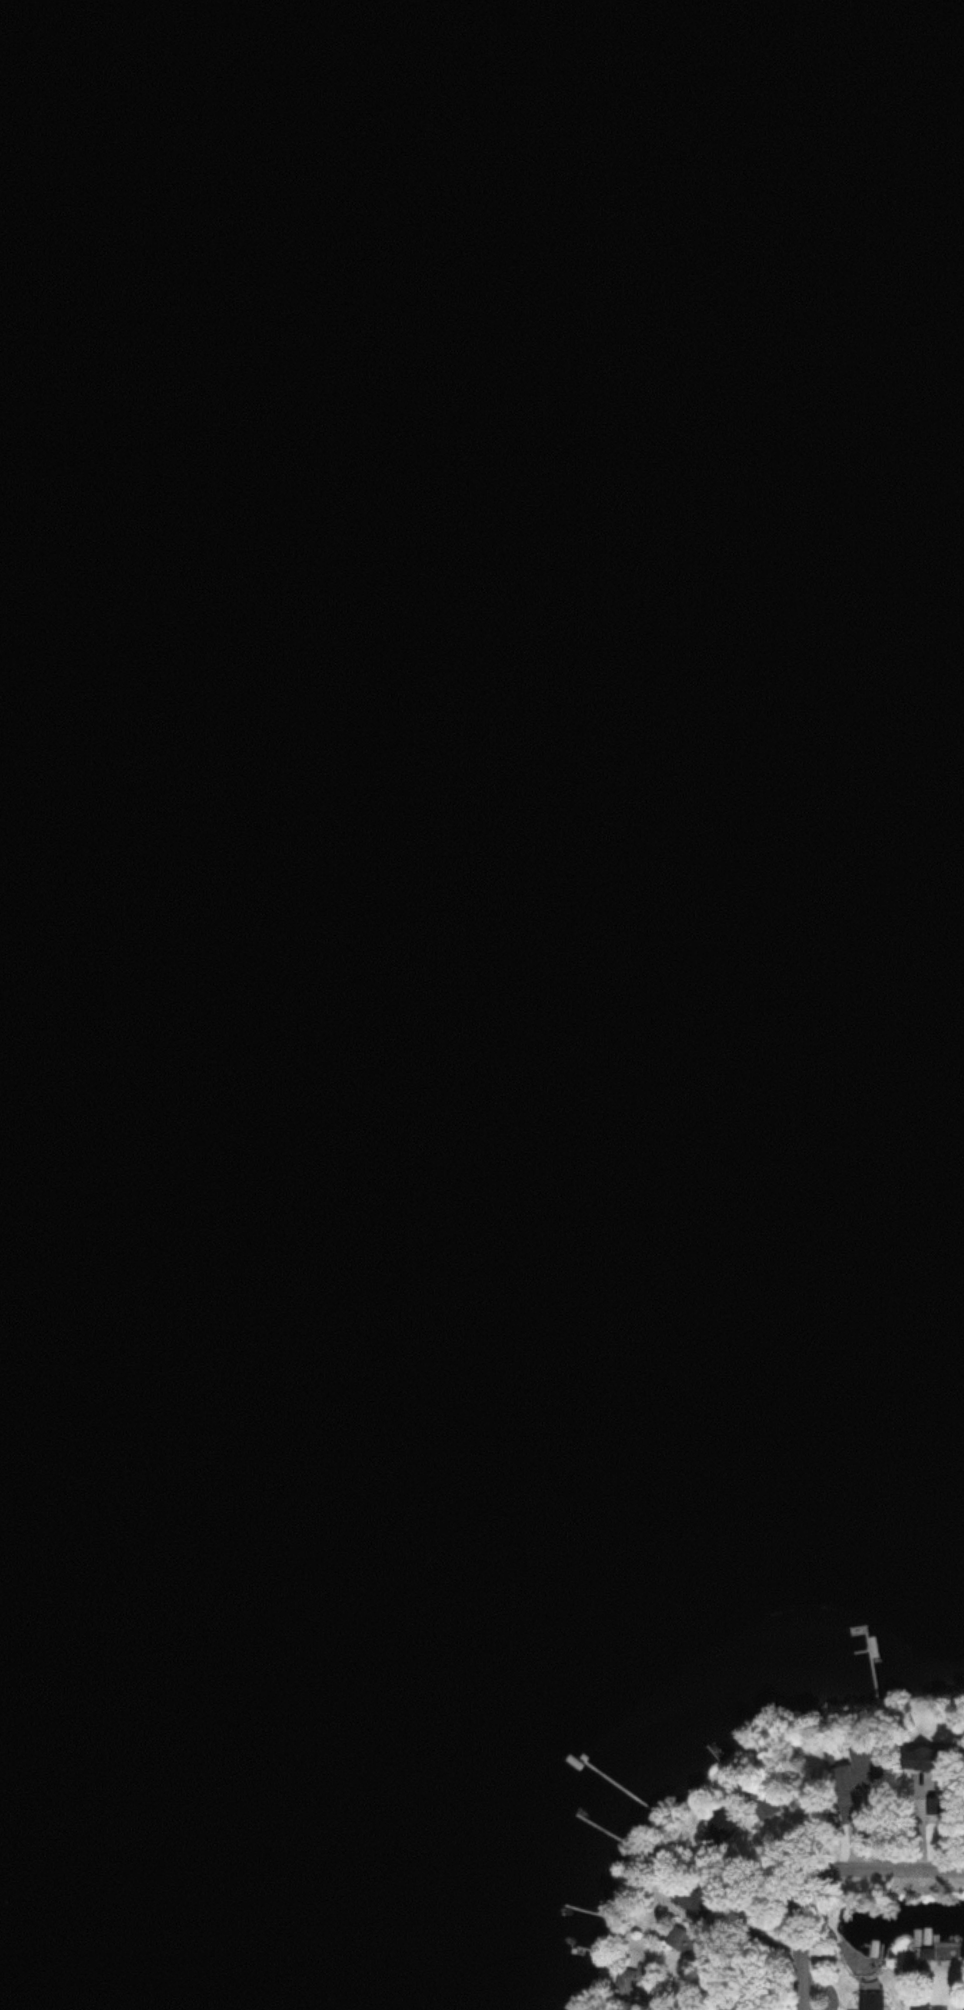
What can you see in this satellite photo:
building: (861, 1769)
park: (809, 1784)
building: (928, 1789)
building: (763, 1804)
building: (720, 1832)
building: (855, 1833)
road: (884, 1869)
building: (693, 1898)
building: (679, 1940)
road: (799, 1945)
building: (634, 1983)
building: (871, 2001)
building: (920, 2007)

